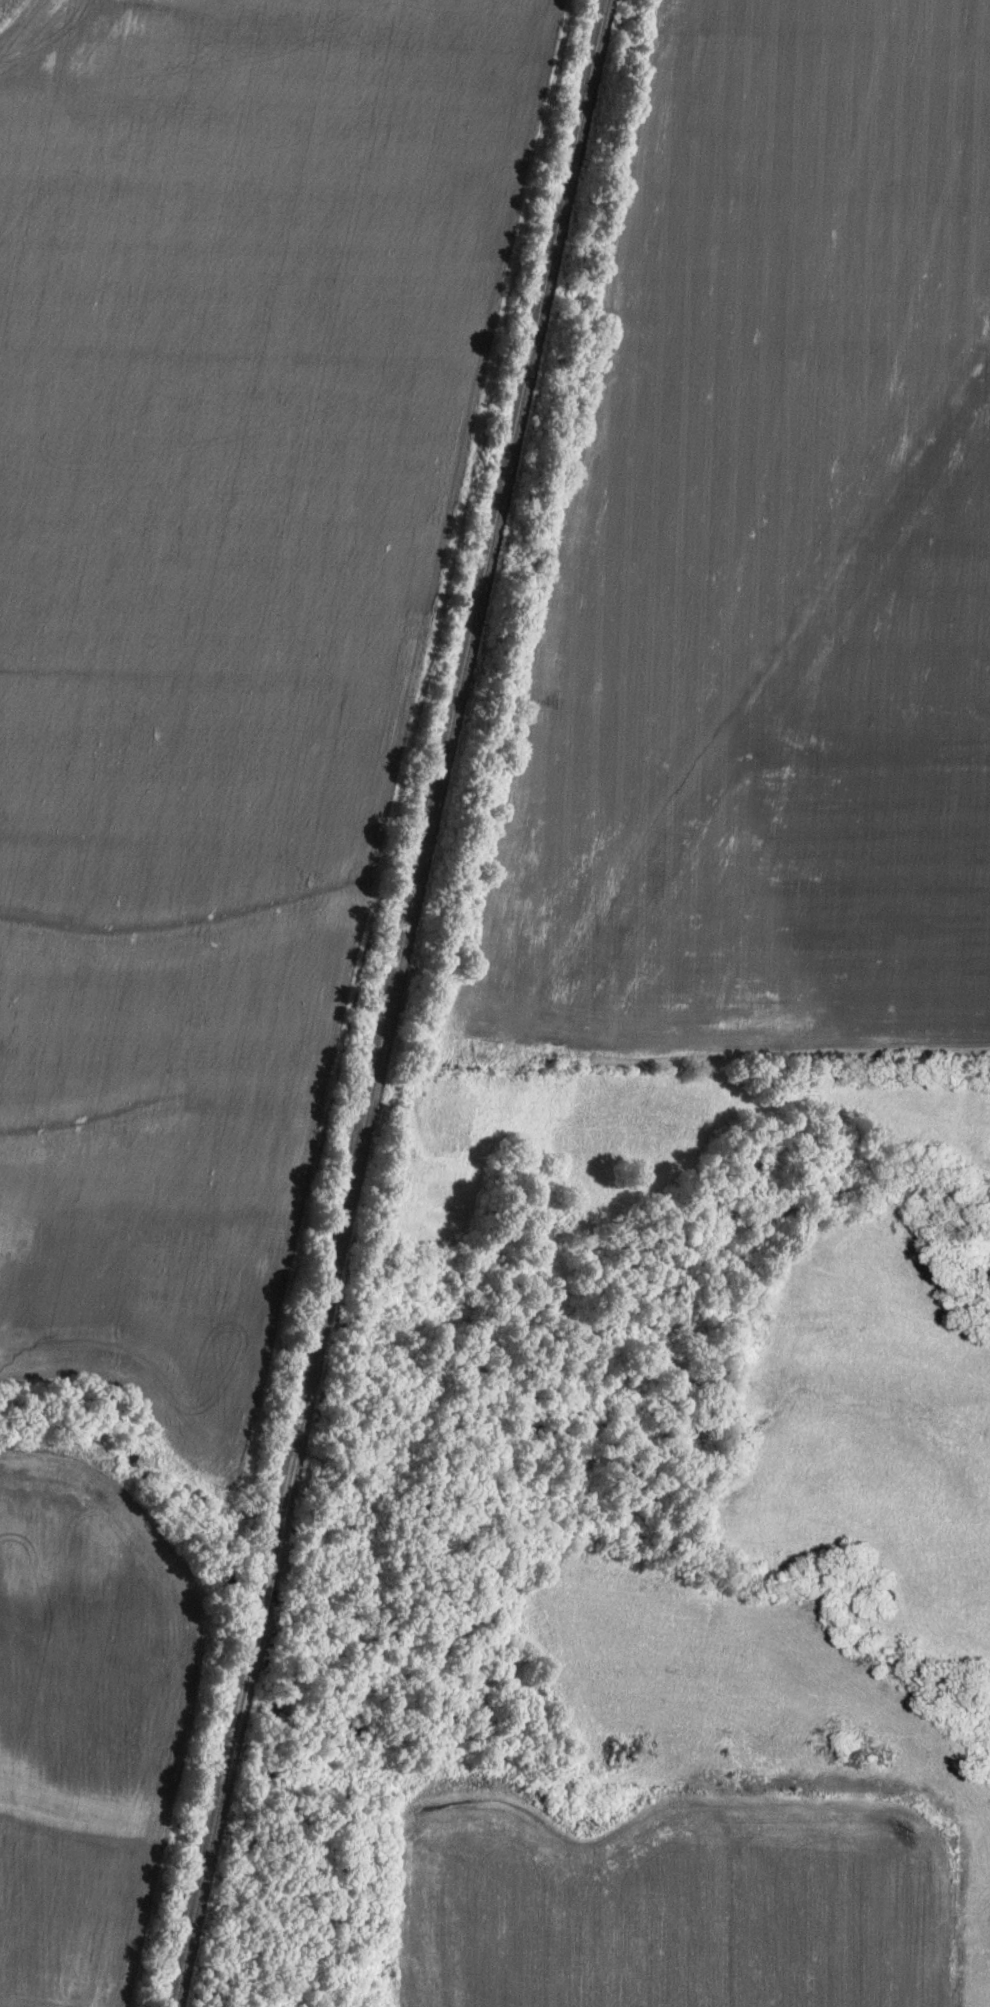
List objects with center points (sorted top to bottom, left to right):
airport runway: (766, 703)
airport taxiway: (861, 759)
railway: (391, 1003)

